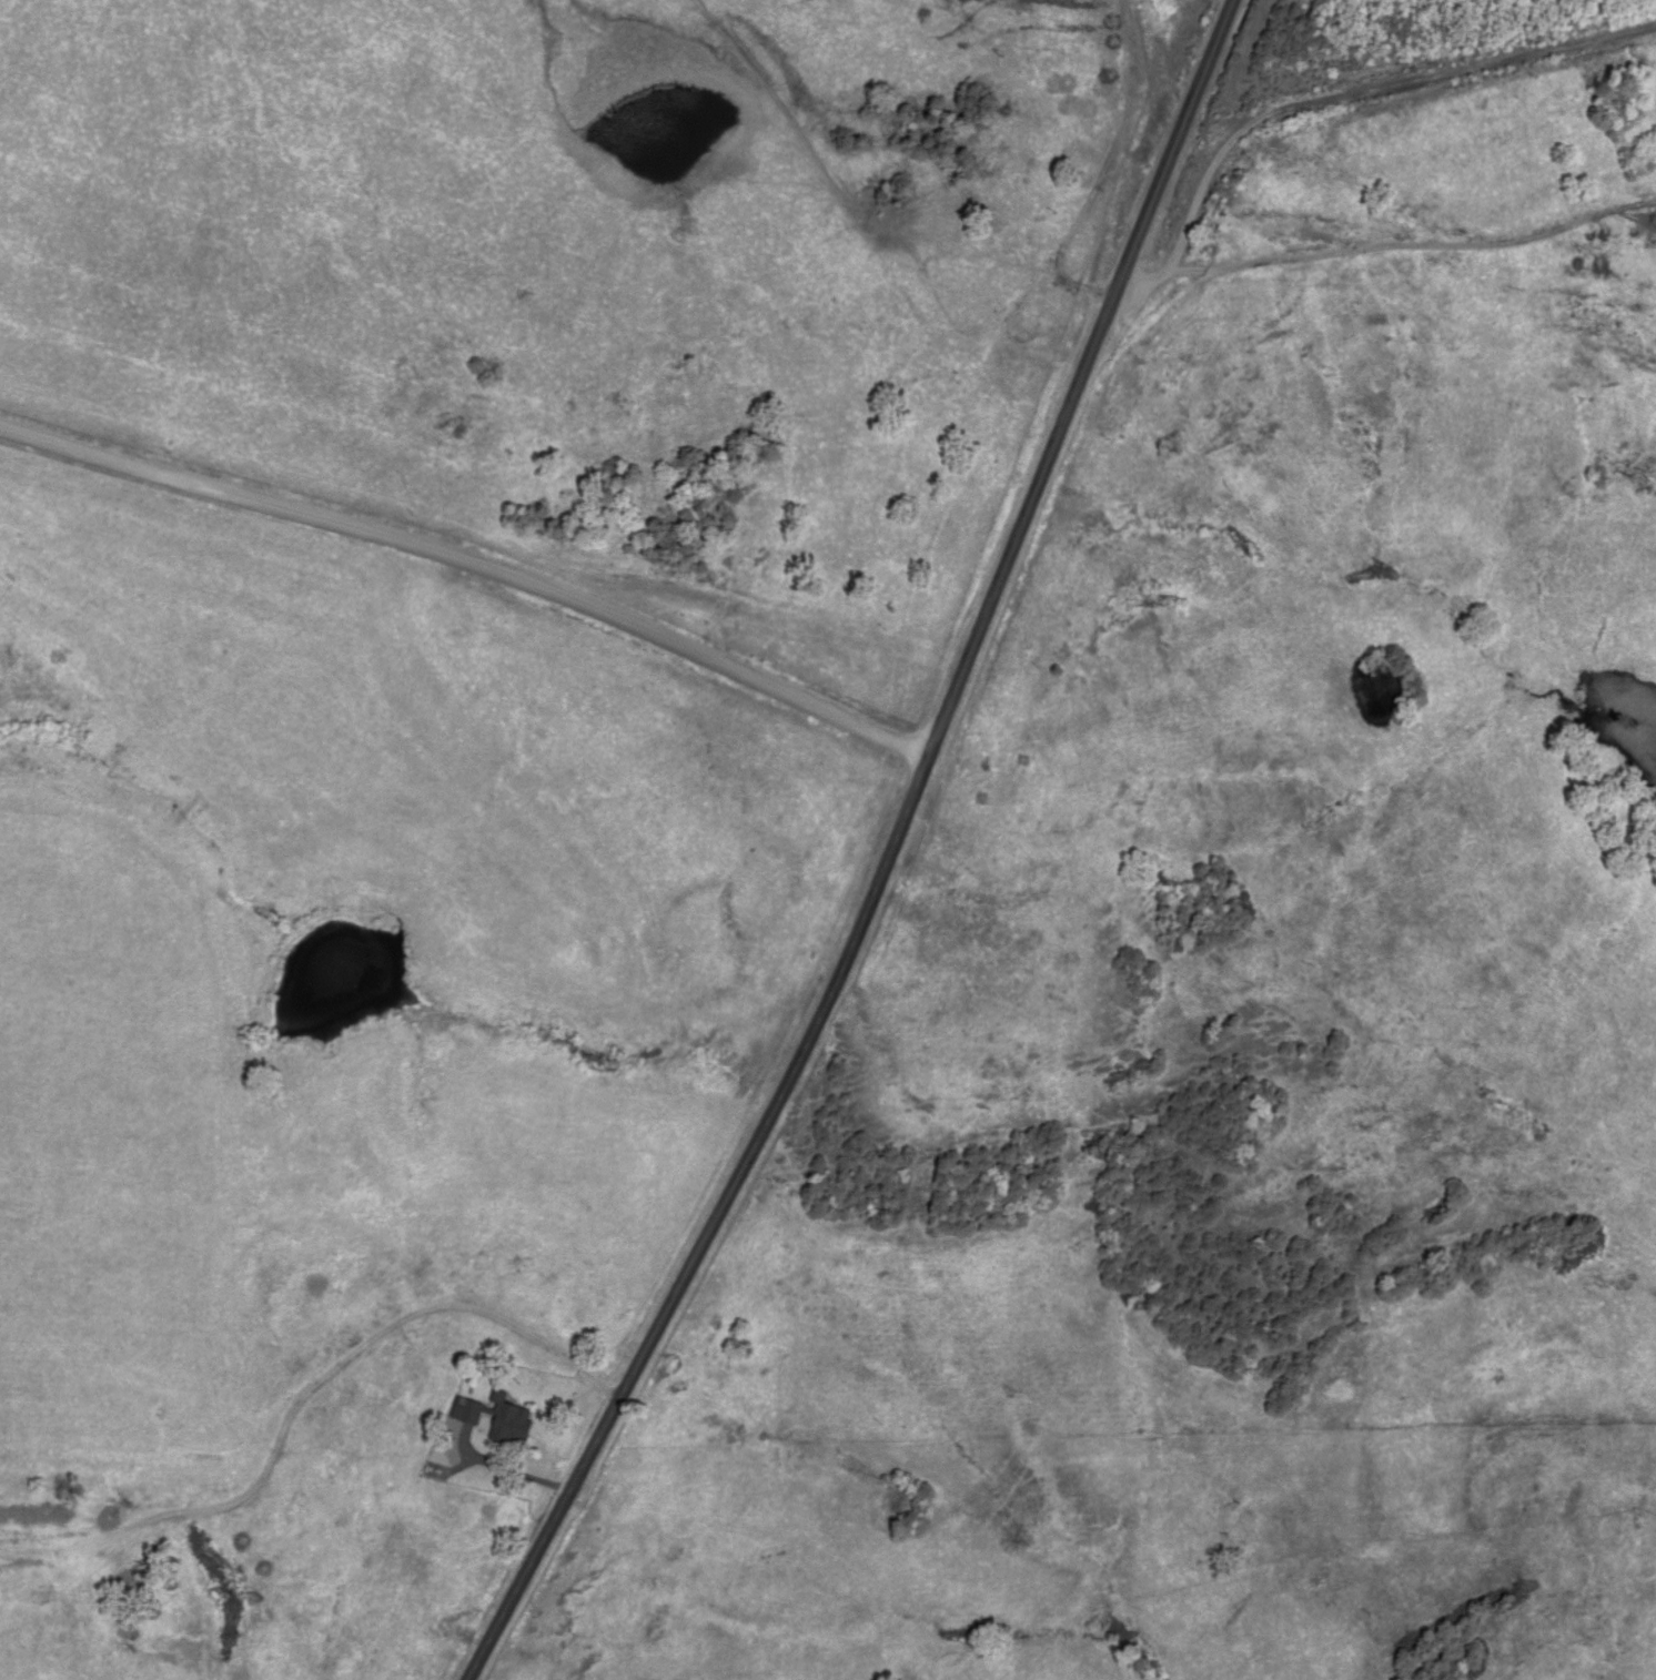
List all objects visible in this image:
road: (1332, 98)
road: (464, 603)
road: (883, 857)
road: (515, 1474)

